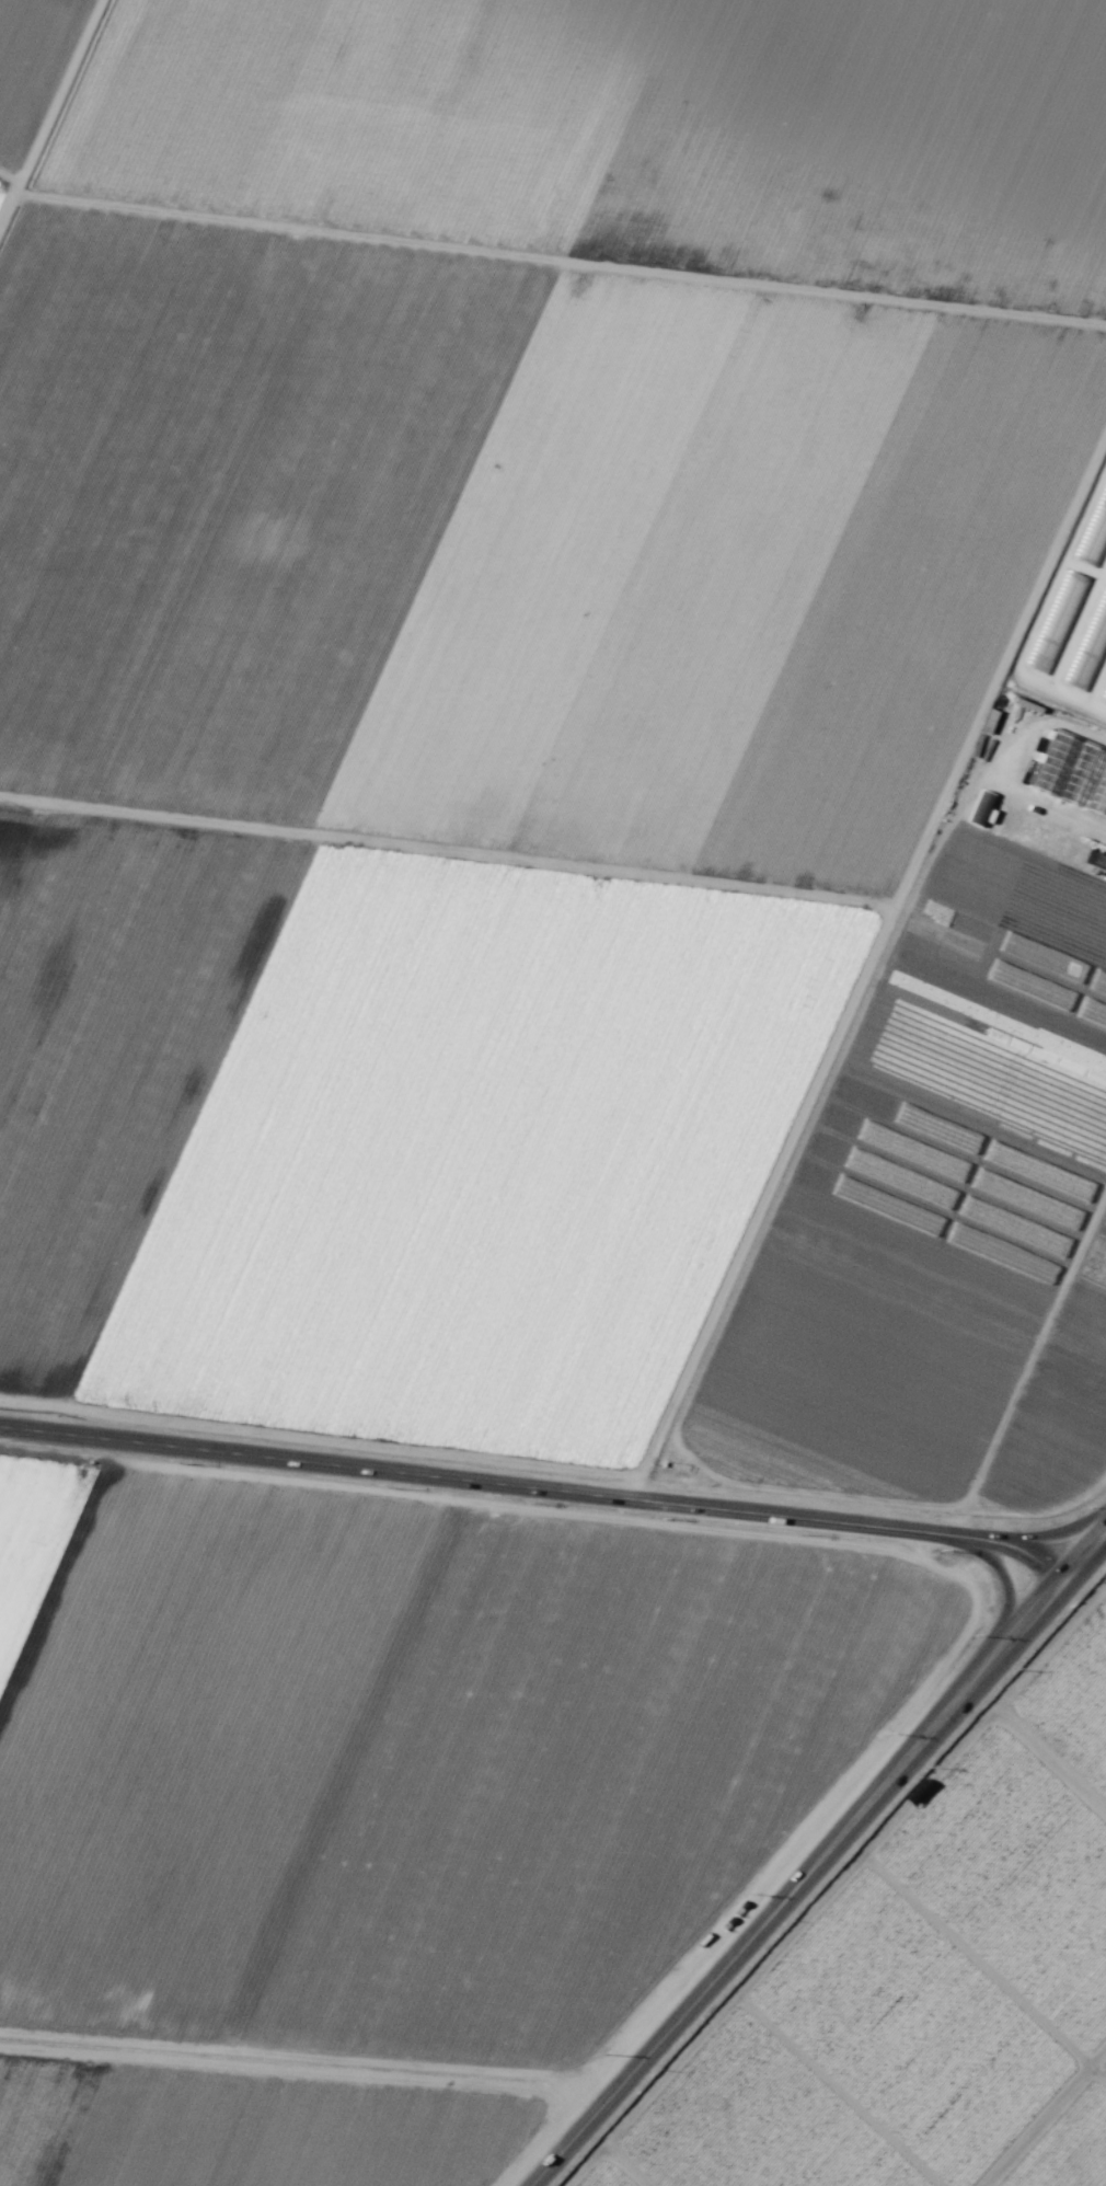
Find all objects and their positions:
crop: (552, 729)
building: (1069, 768)
building: (979, 807)
road: (552, 1480)
road: (1003, 1581)
crop: (377, 1805)
road: (821, 1862)
crop: (935, 1988)

